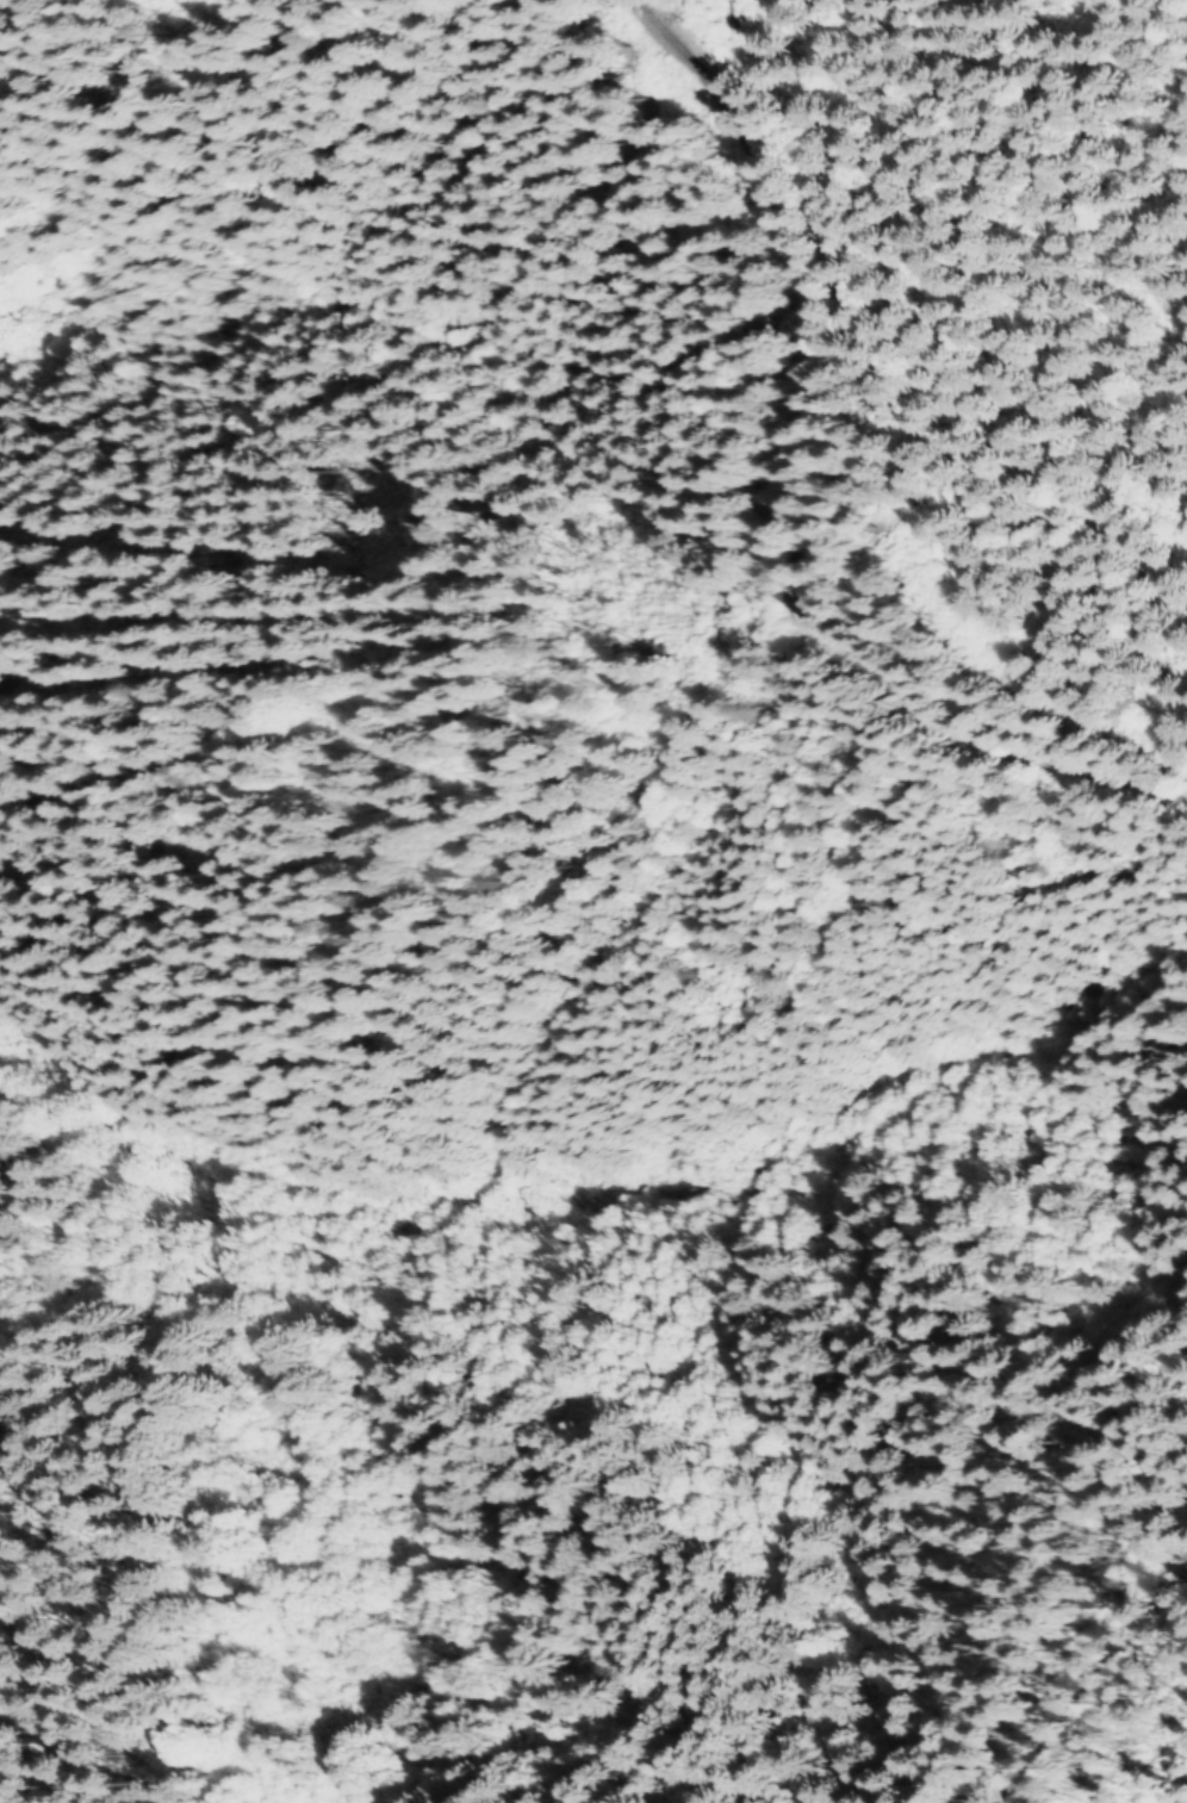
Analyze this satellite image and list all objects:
road: (843, 454)
road: (1117, 1703)

